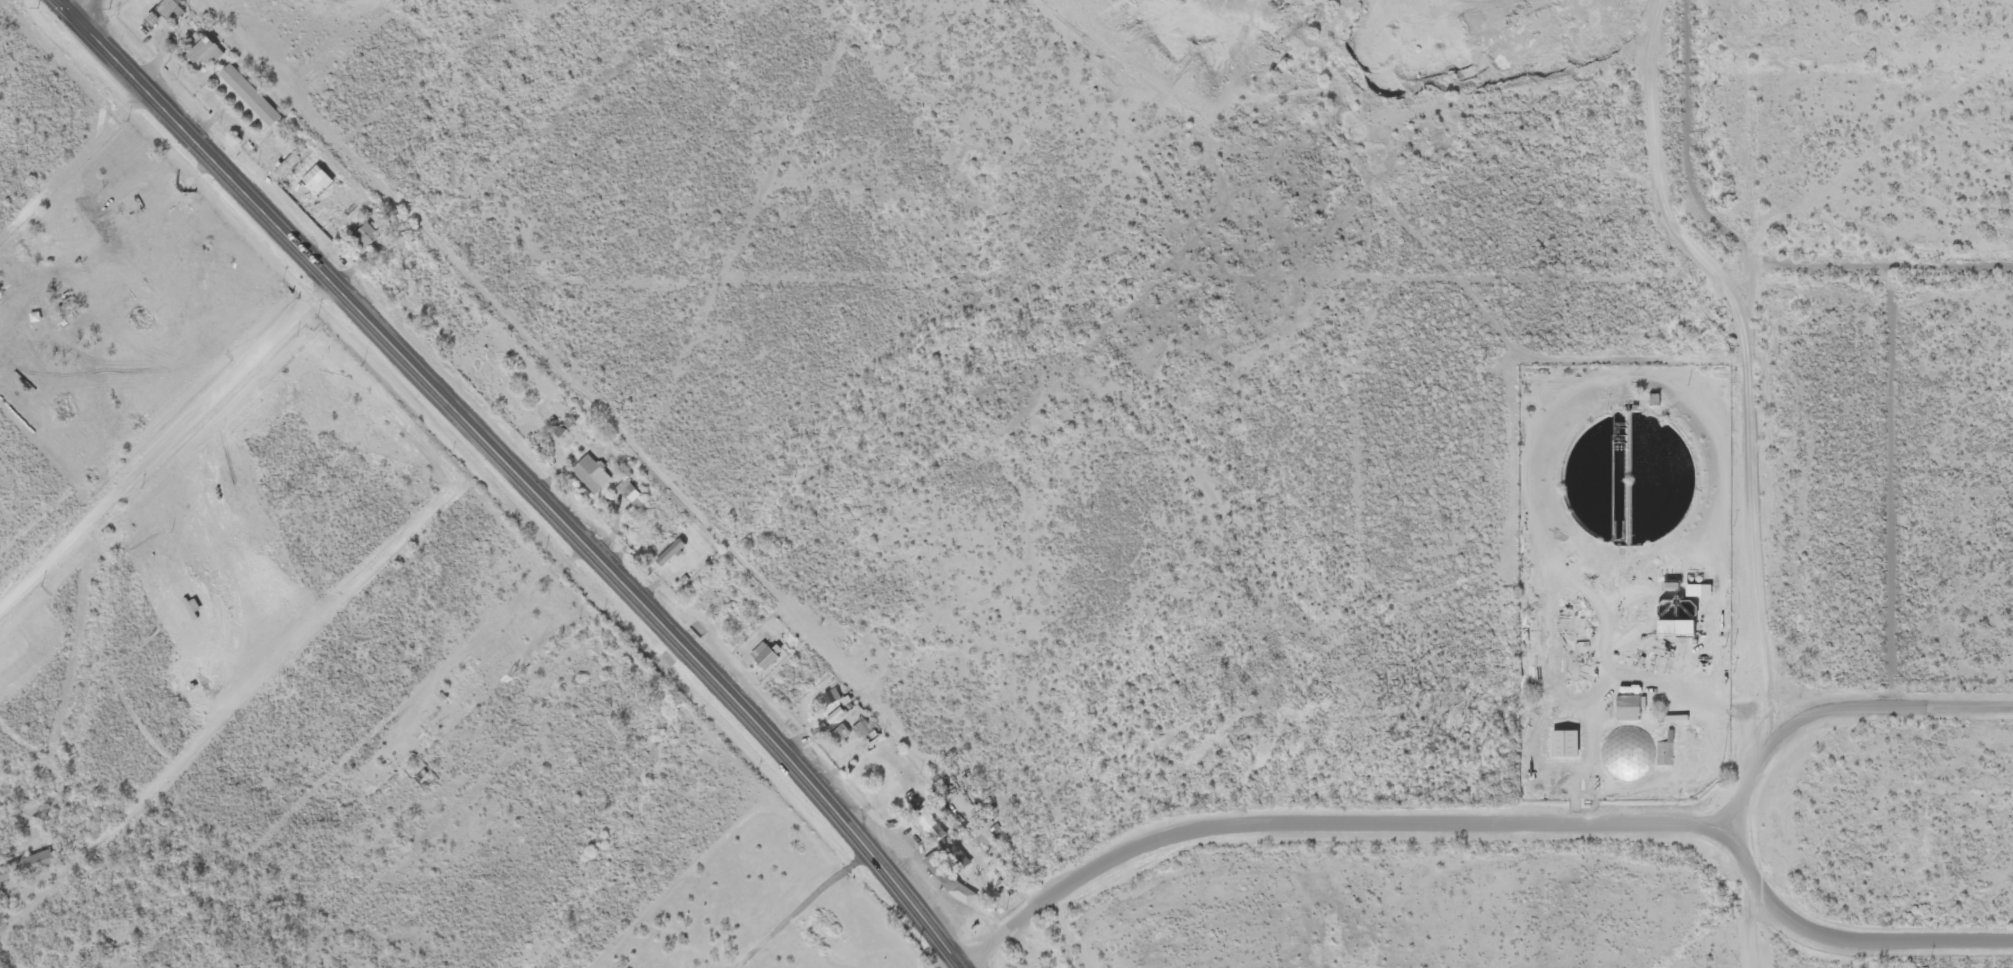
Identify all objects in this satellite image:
road: (70, 4)
building: (170, 8)
building: (288, 159)
road: (129, 231)
building: (365, 233)
road: (1748, 244)
road: (162, 412)
building: (566, 422)
building: (592, 470)
road: (518, 476)
building: (1687, 618)
building: (1624, 704)
road: (1849, 712)
building: (867, 727)
building: (840, 731)
building: (1663, 749)
road: (1327, 818)
building: (931, 823)
building: (957, 854)
building: (26, 861)
building: (941, 868)
road: (1763, 928)
road: (1837, 950)

